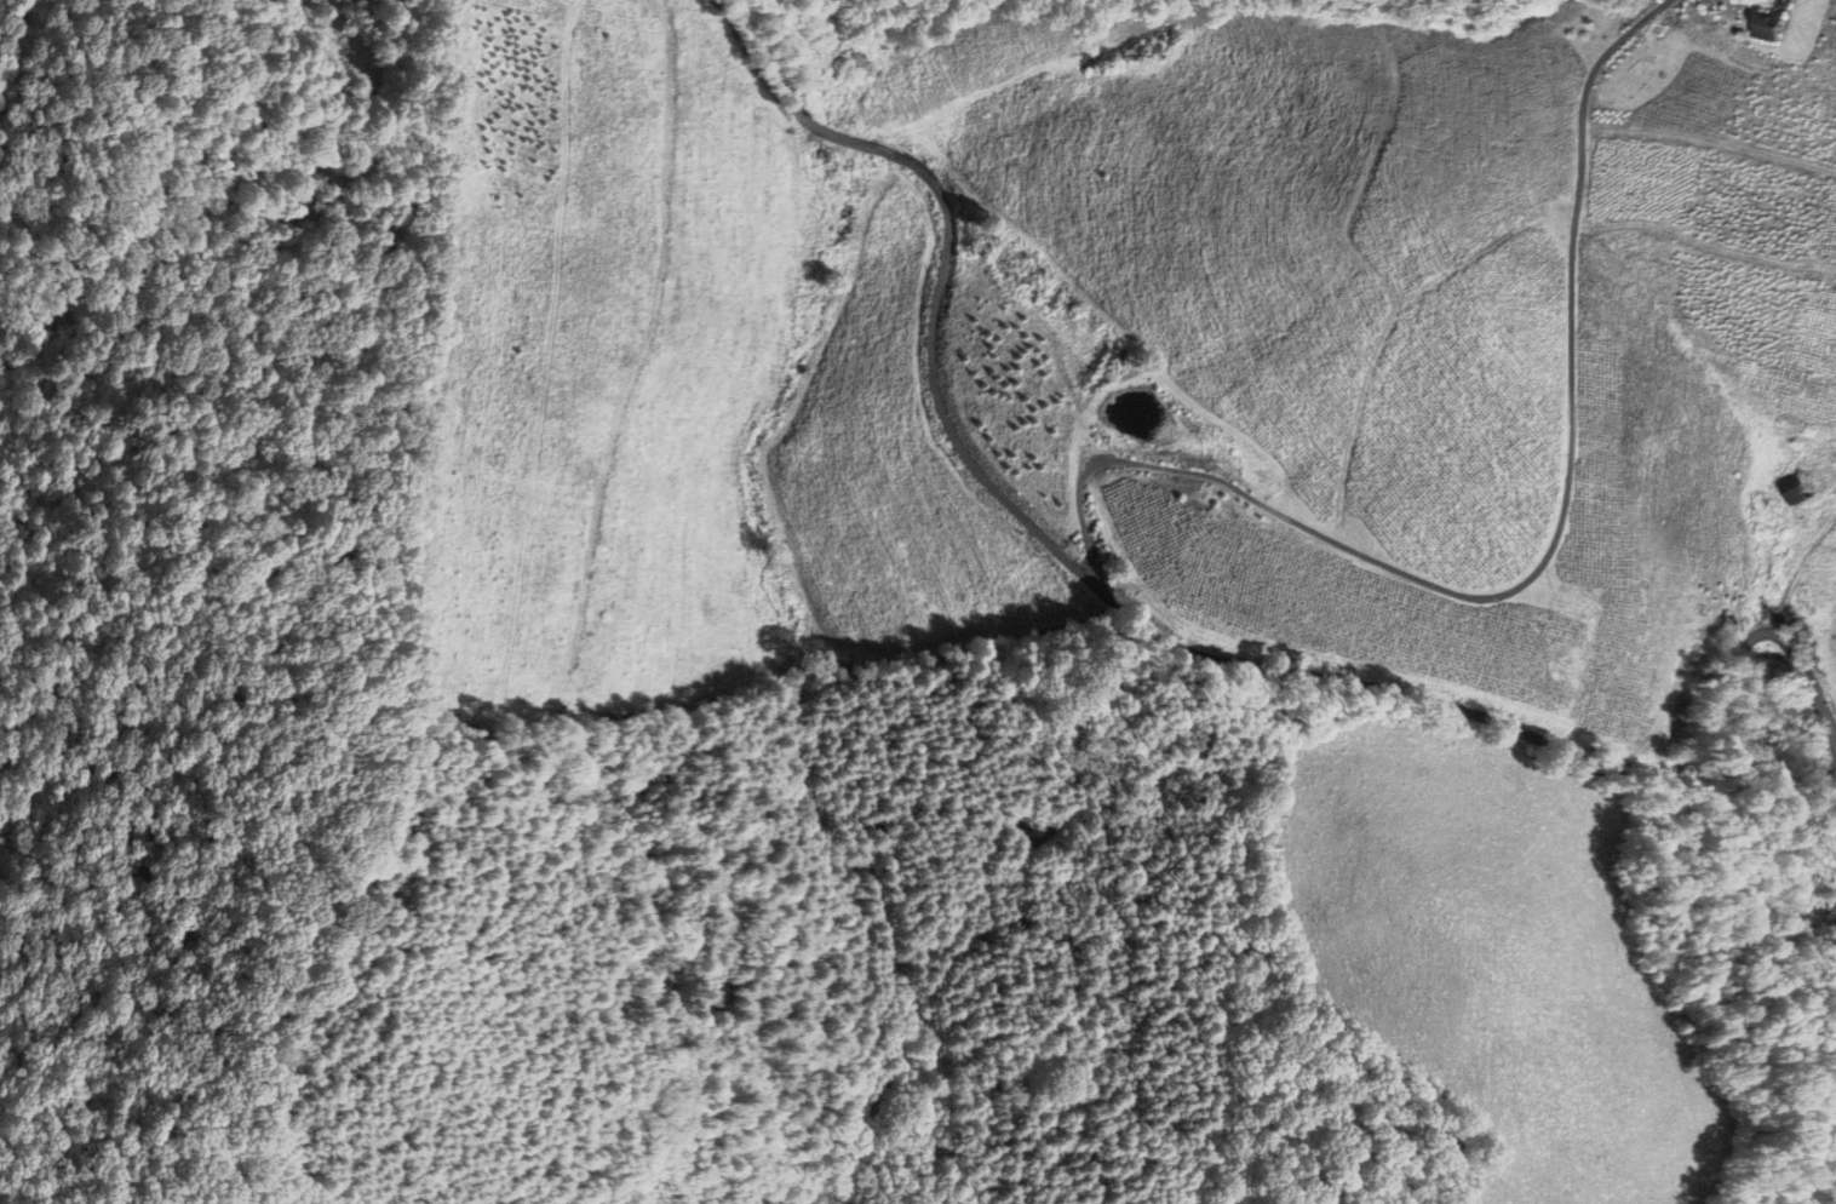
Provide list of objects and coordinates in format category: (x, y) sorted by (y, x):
building: (1761, 27)
building: (1792, 493)
road: (1532, 566)
road: (1161, 631)
building: (1834, 901)

